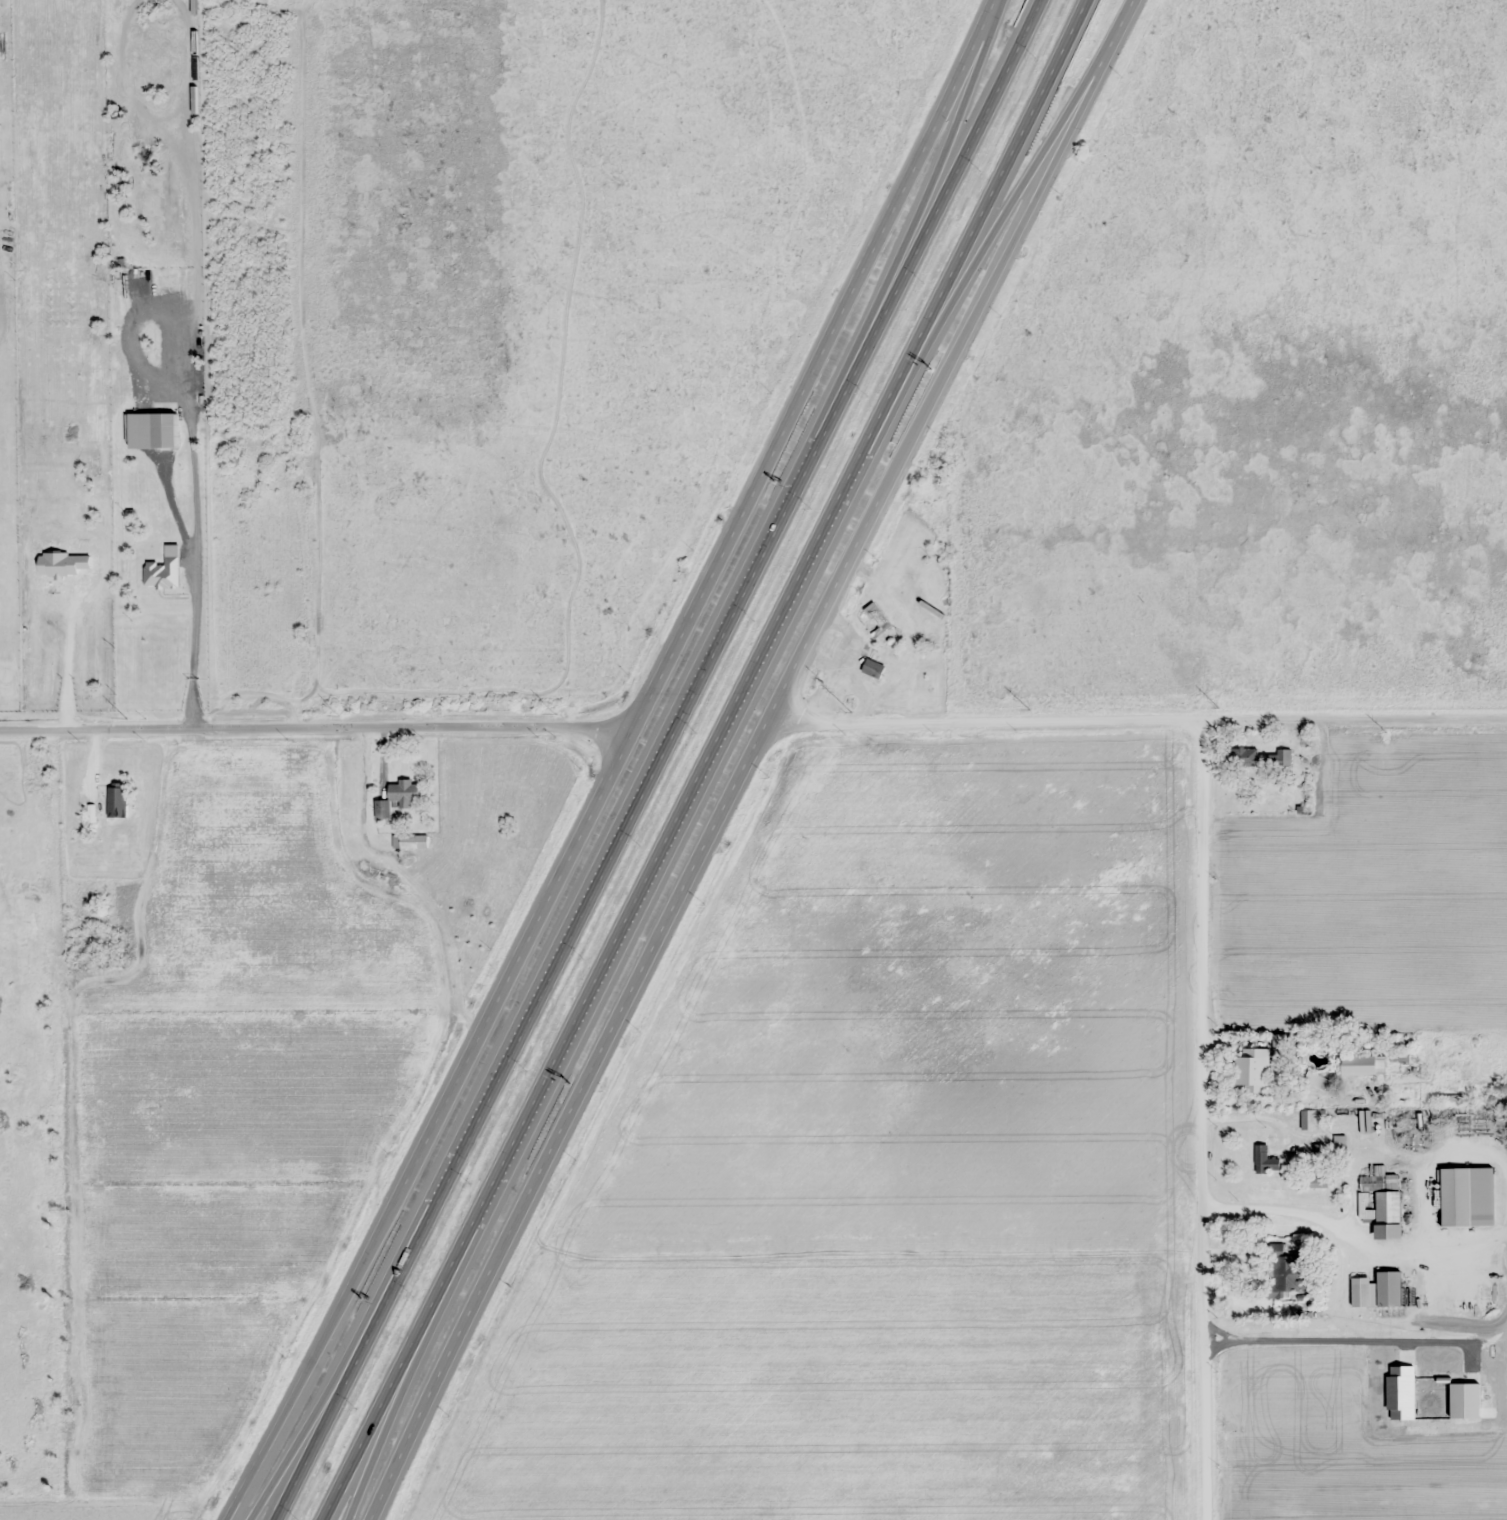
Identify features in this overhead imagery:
road: (110, 57)
road: (923, 224)
road: (908, 225)
road: (996, 231)
building: (877, 624)
building: (873, 668)
road: (1134, 716)
road: (318, 723)
road: (746, 756)
building: (1243, 757)
building: (1283, 761)
road: (708, 762)
road: (616, 764)
building: (400, 798)
building: (116, 802)
road: (621, 824)
building: (410, 842)
building: (1363, 1065)
building: (1254, 1070)
building: (1315, 1080)
road: (1194, 1118)
building: (1309, 1120)
building: (1339, 1144)
building: (1265, 1160)
road: (19, 1170)
building: (1391, 1182)
building: (1319, 1183)
building: (1456, 1197)
building: (1380, 1205)
building: (1285, 1272)
building: (1390, 1289)
building: (1360, 1292)
road: (426, 1347)
road: (340, 1360)
road: (352, 1360)

